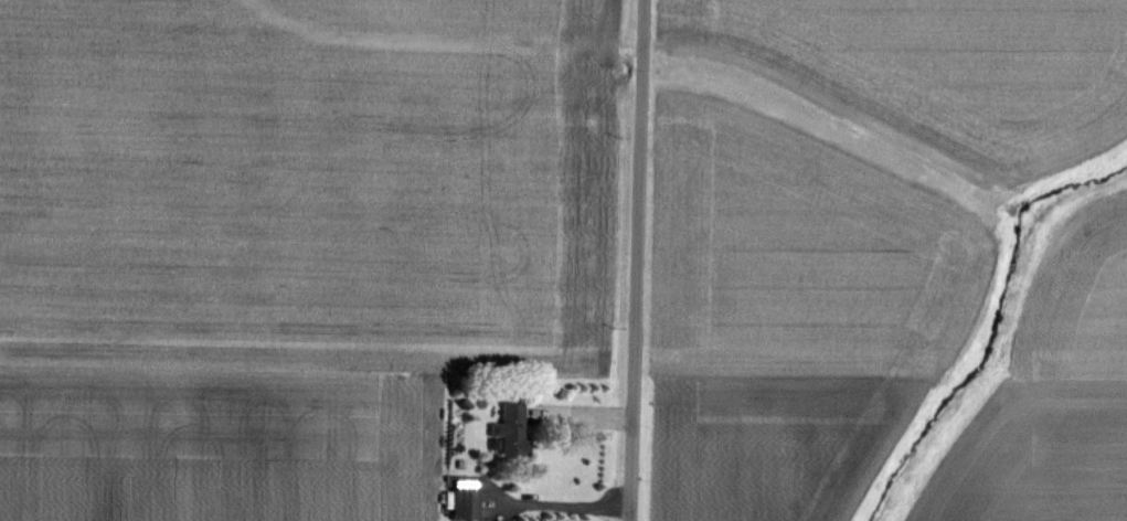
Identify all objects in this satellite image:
road: (627, 260)

